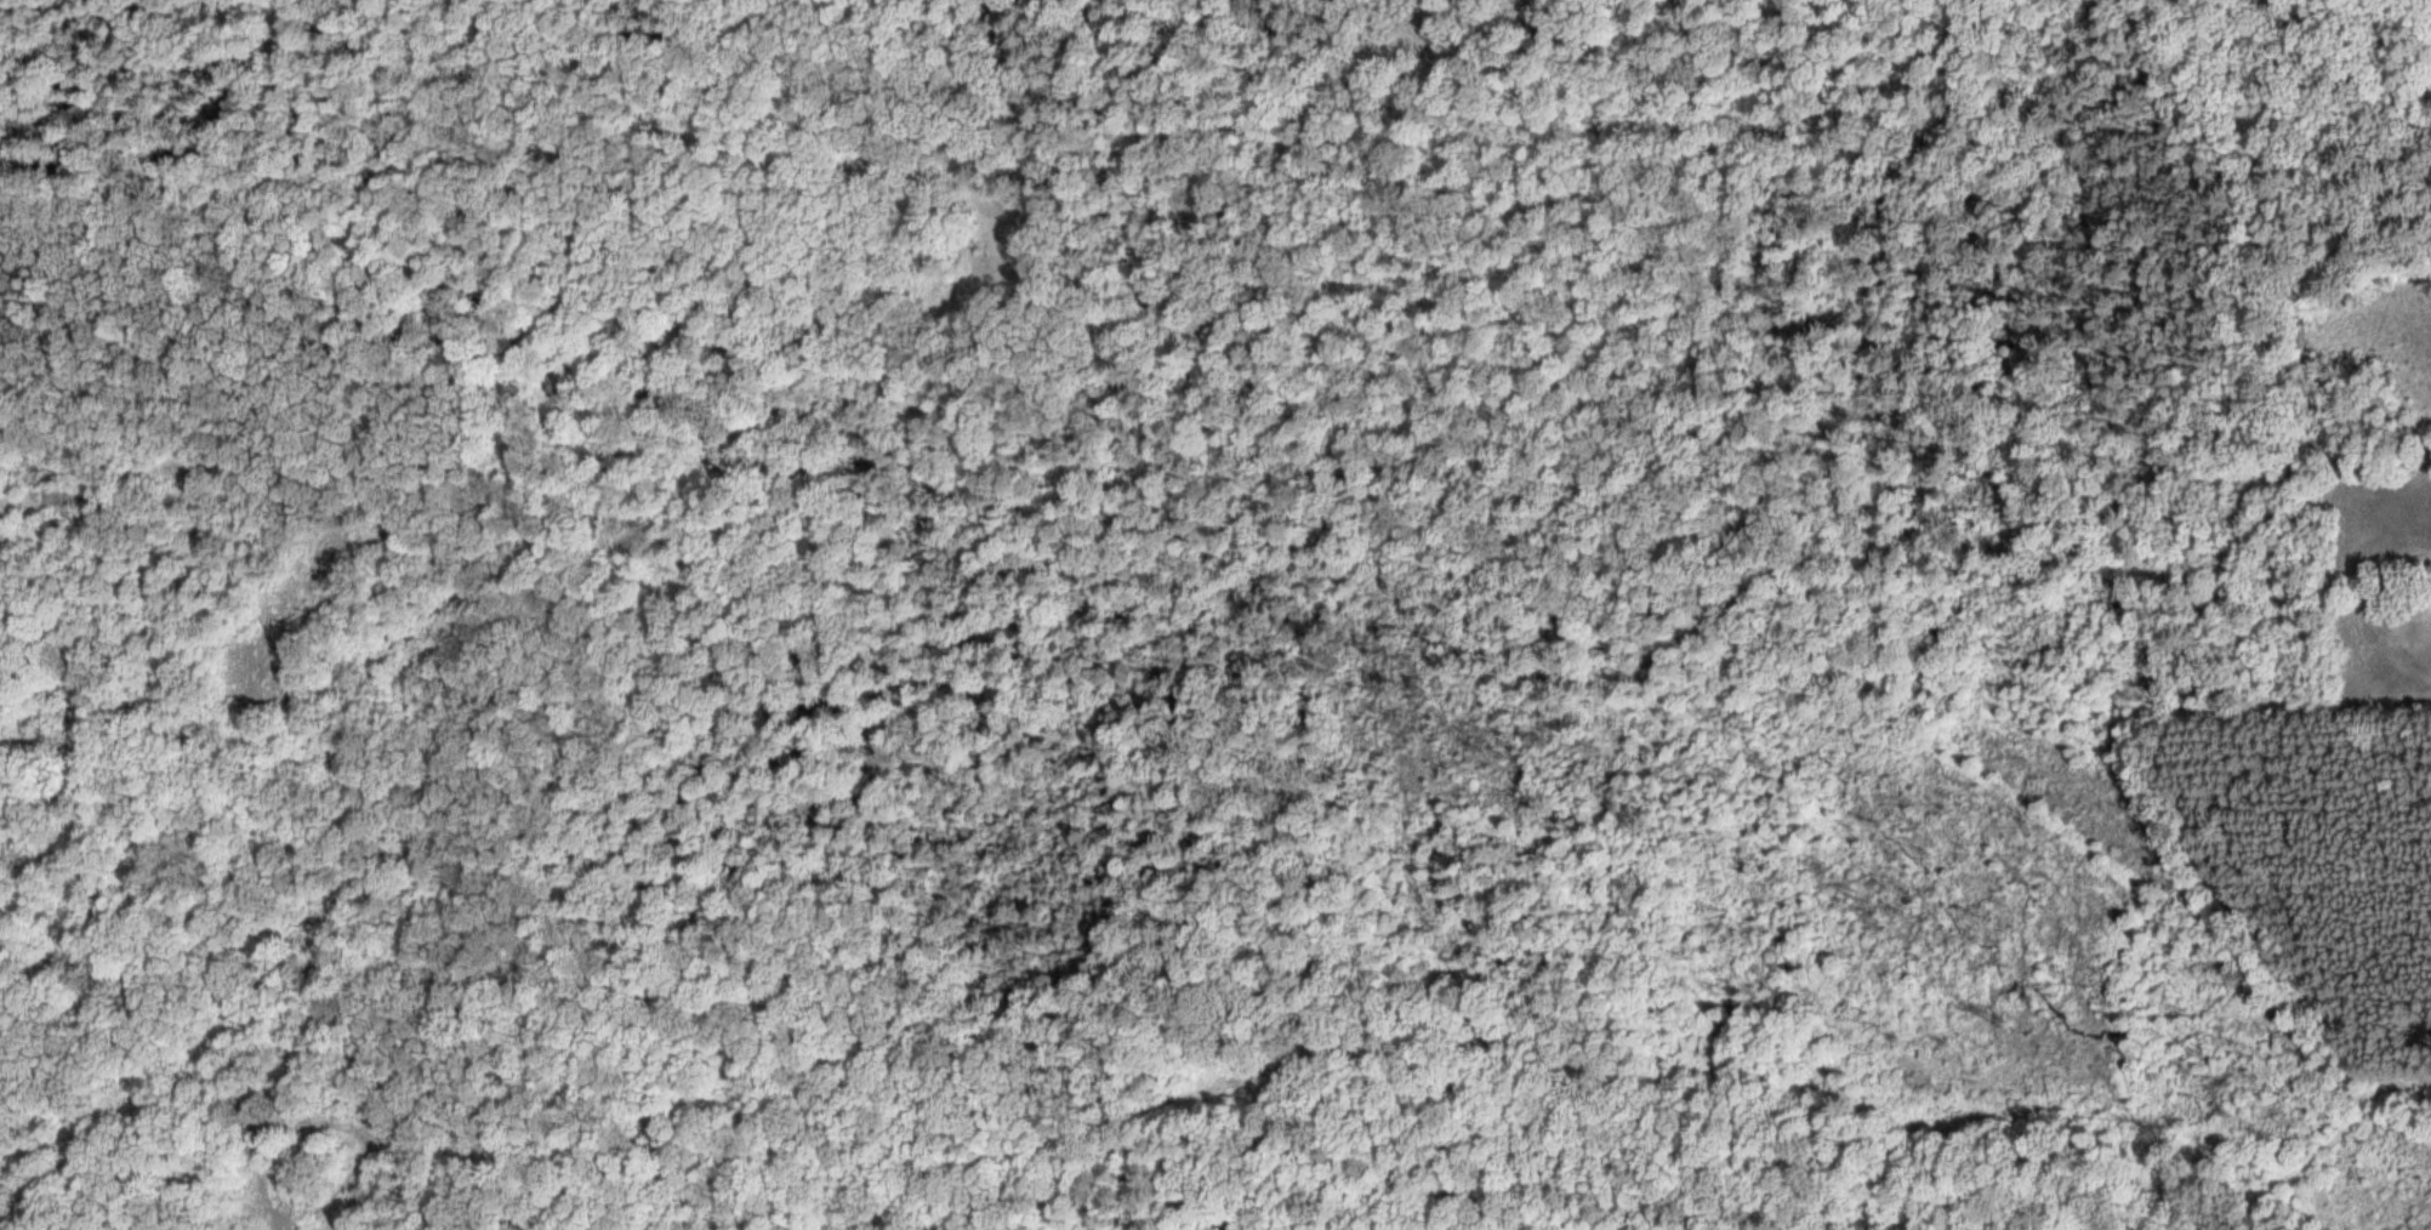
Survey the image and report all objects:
road: (2315, 354)

